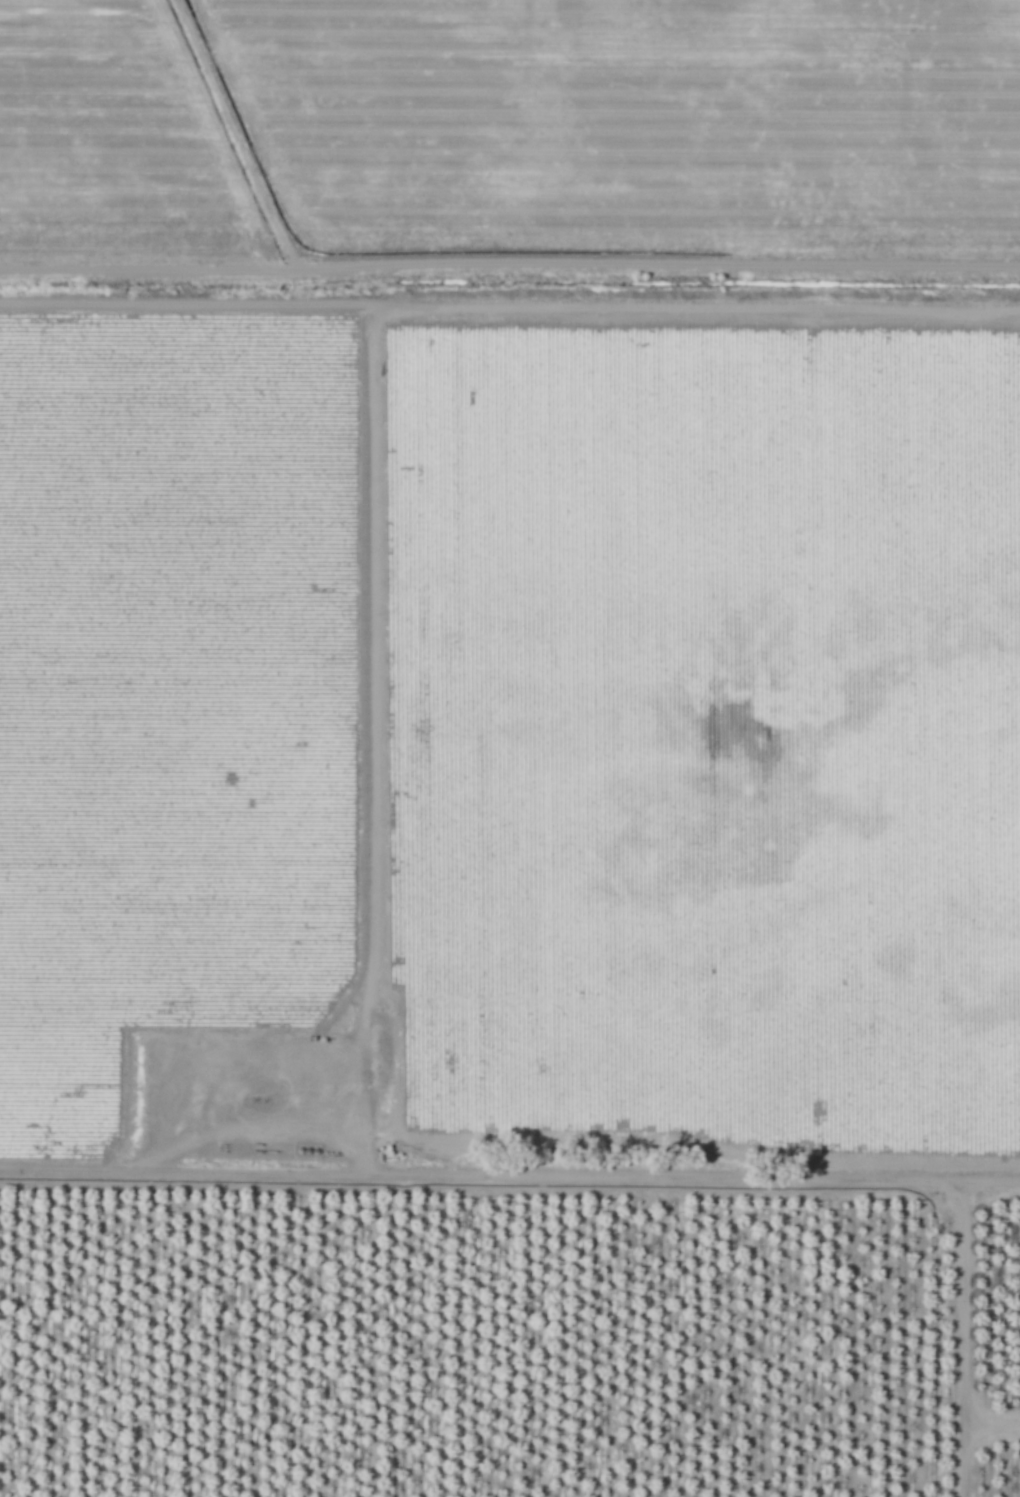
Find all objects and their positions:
road: (142, 274)

